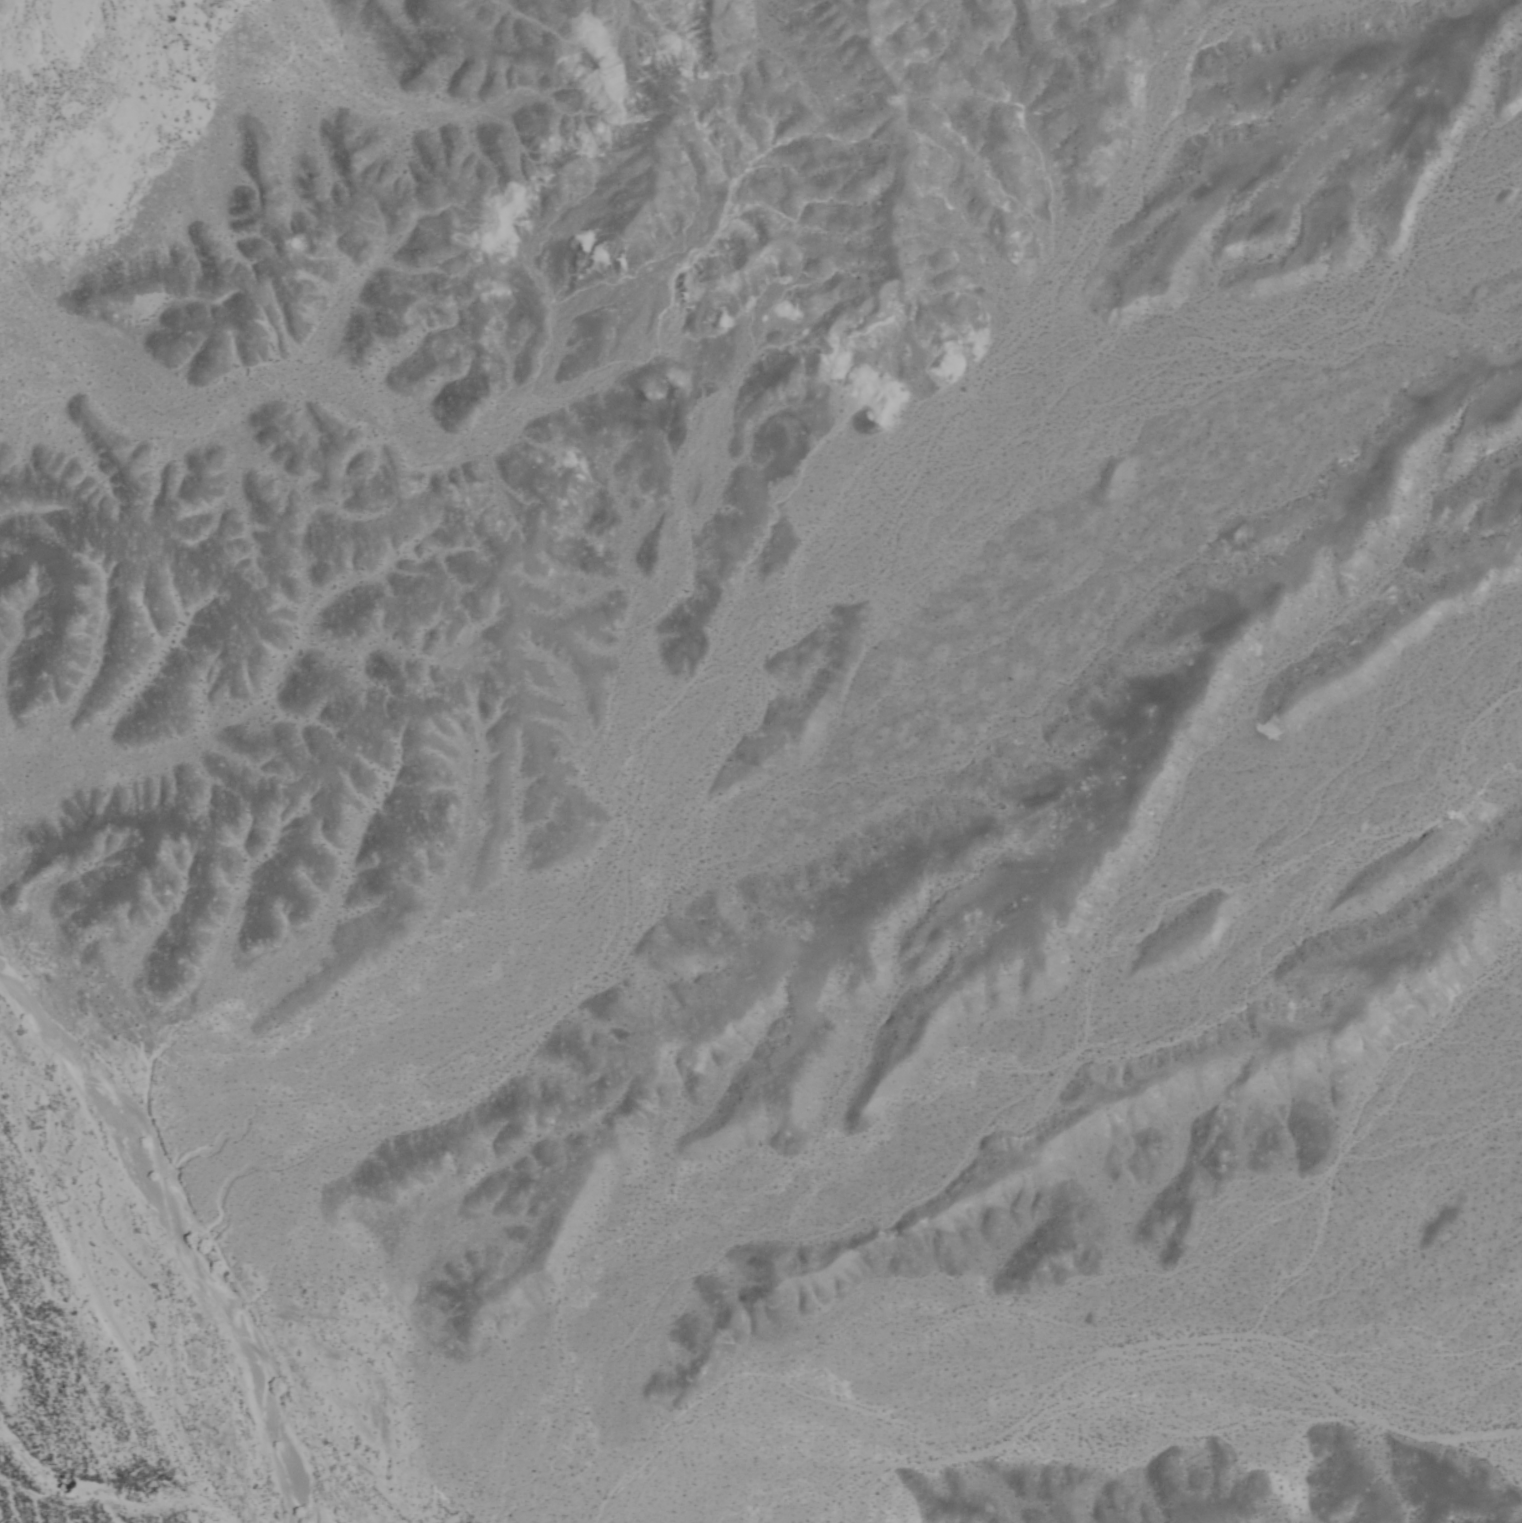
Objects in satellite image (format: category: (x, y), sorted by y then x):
river: (85, 1482)

